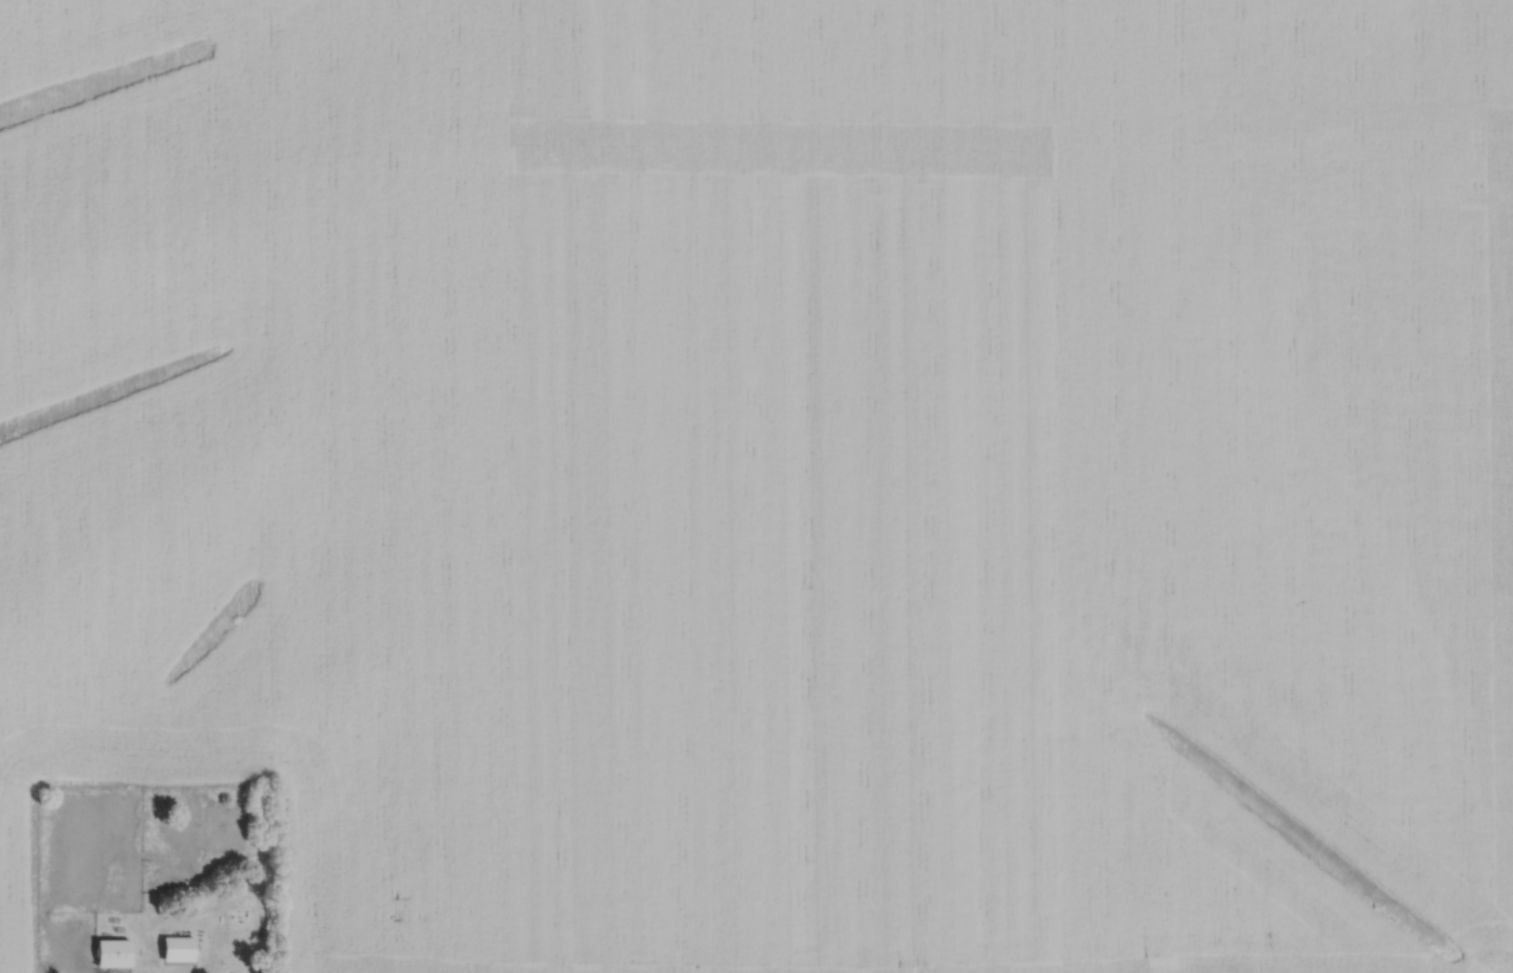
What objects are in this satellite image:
building: (175, 949)
building: (109, 953)

